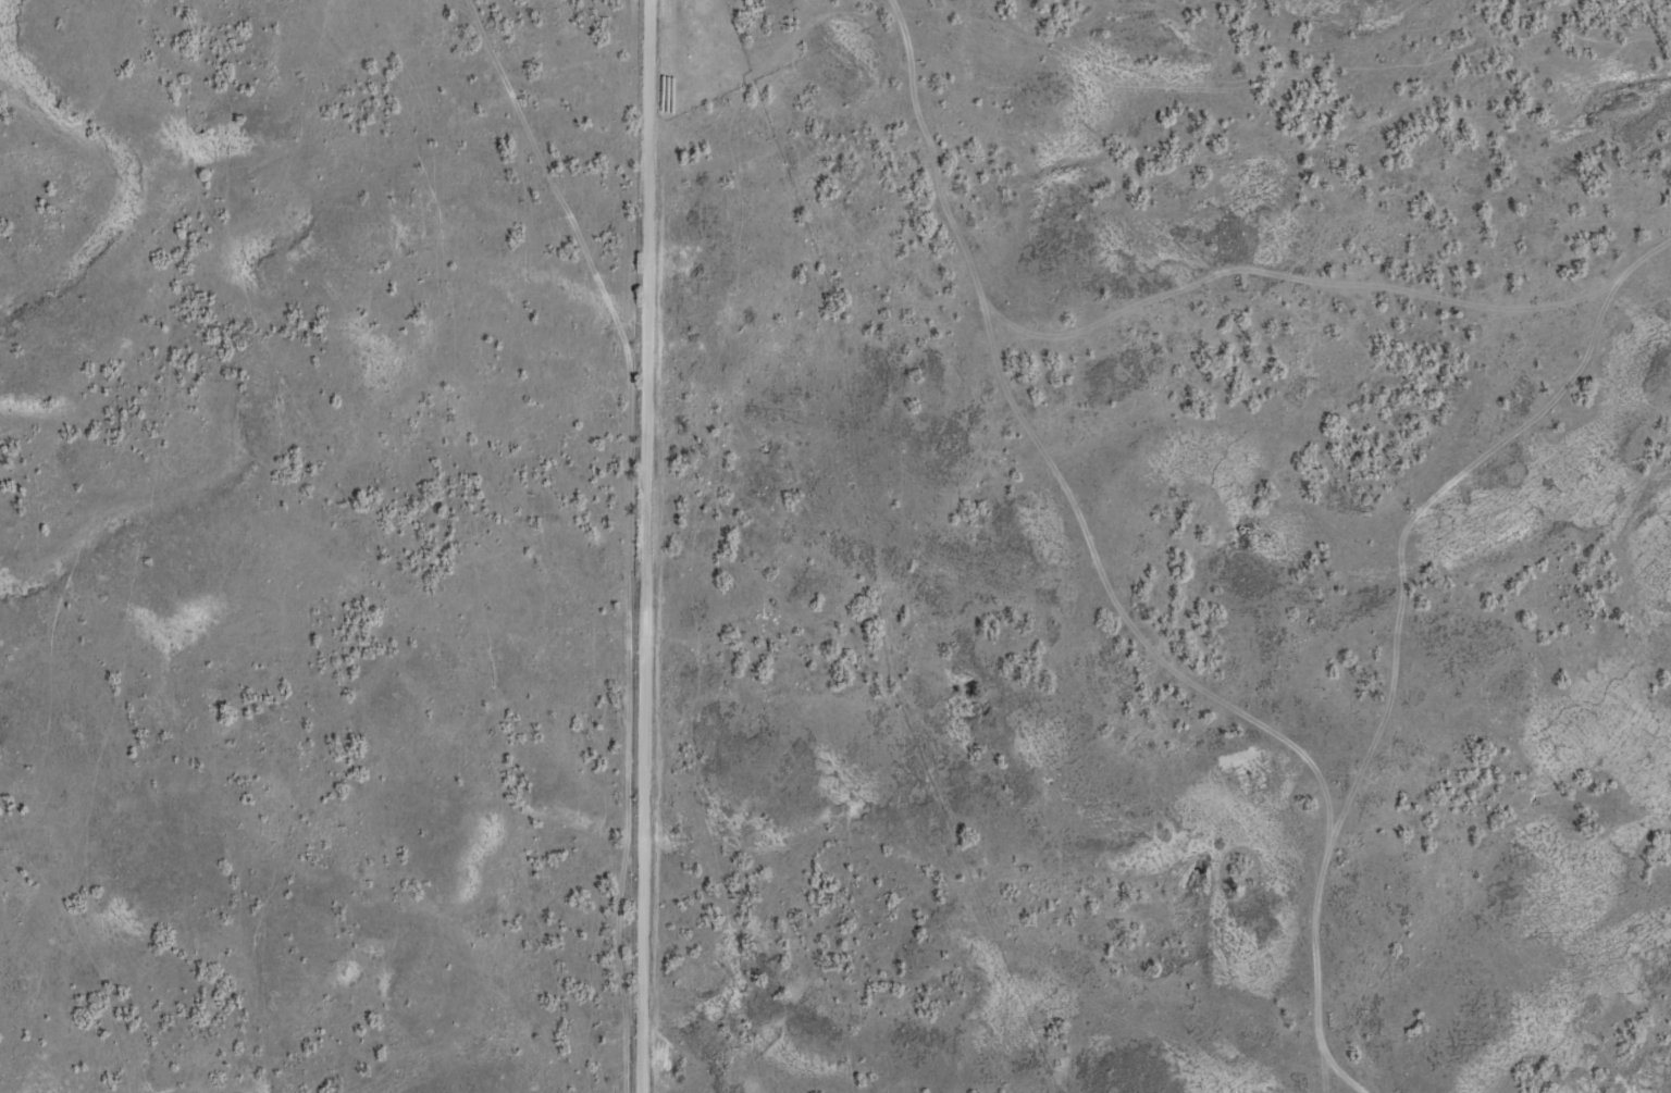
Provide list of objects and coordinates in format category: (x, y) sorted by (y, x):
road: (323, 145)
road: (651, 546)

